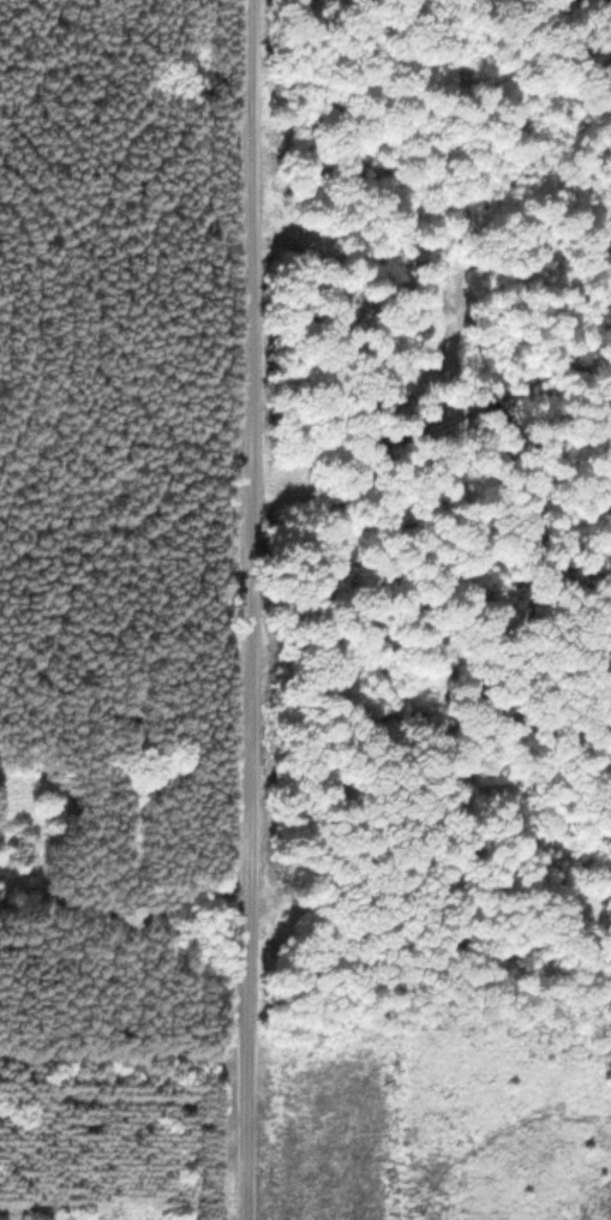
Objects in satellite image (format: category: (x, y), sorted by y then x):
road: (247, 610)

